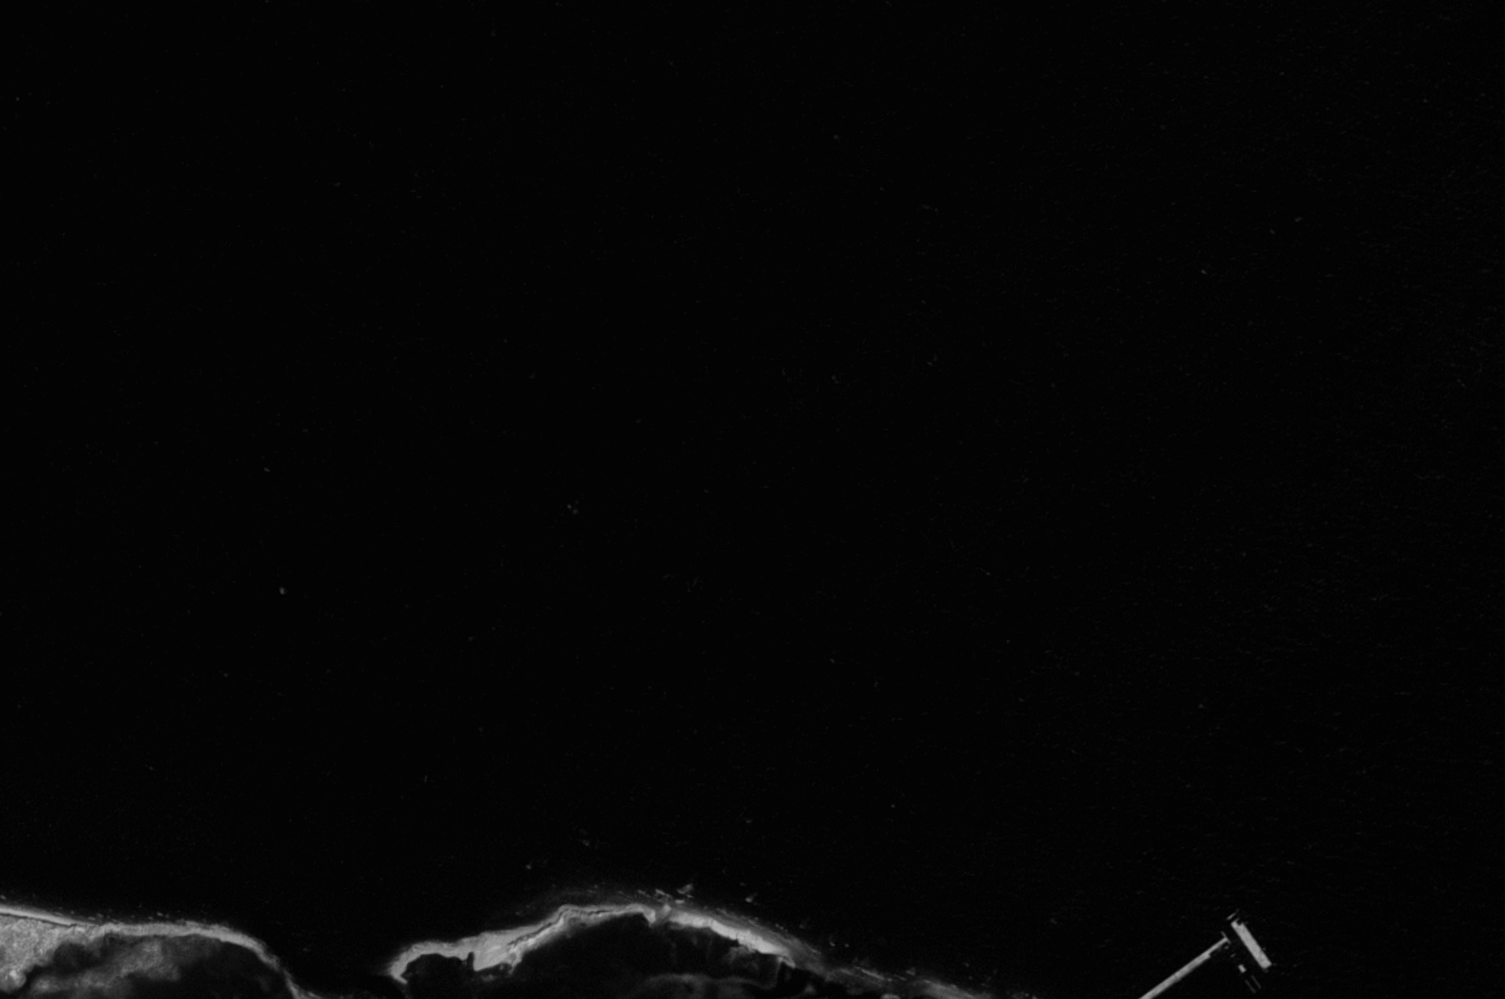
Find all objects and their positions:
pier: (1230, 914)
pier: (1234, 916)
pier: (1222, 932)
pier: (1250, 943)
pier: (1224, 945)
pier: (1196, 959)
pier: (1240, 966)
pier: (1174, 975)
pier: (1254, 979)
pier: (1248, 984)
pier: (1158, 986)

